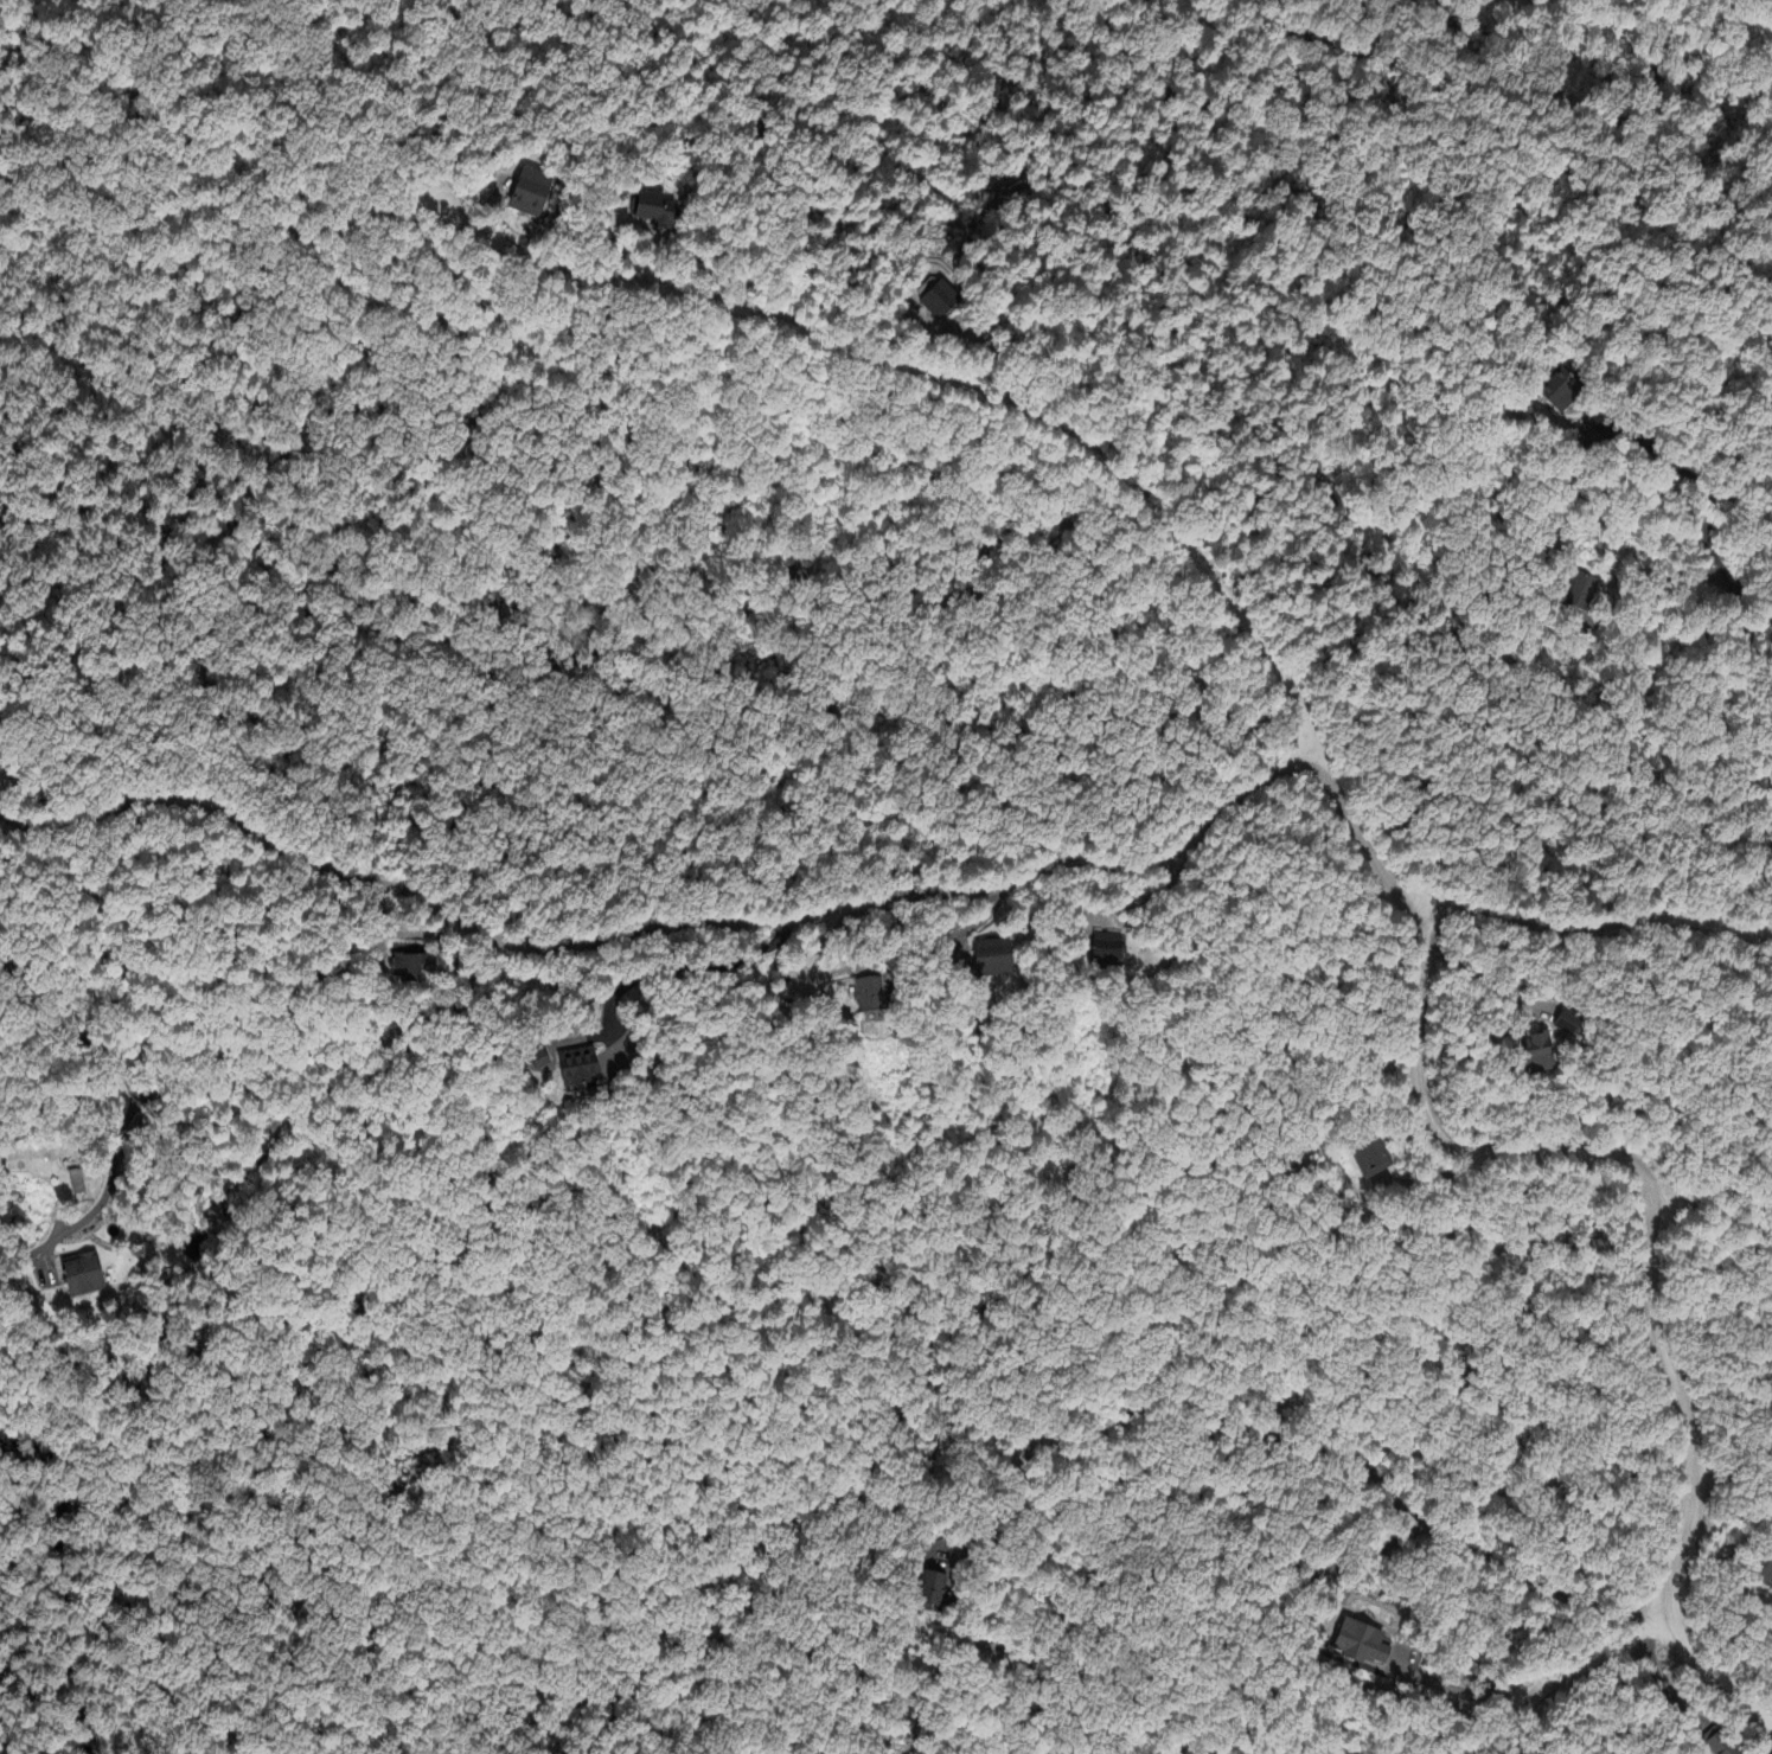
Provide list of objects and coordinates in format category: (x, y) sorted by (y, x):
building: (532, 196)
building: (661, 212)
building: (941, 301)
road: (942, 383)
road: (1662, 457)
road: (1650, 590)
building: (1576, 595)
road: (1733, 596)
road: (1356, 833)
road: (1421, 907)
road: (657, 928)
building: (1108, 952)
building: (994, 960)
road: (687, 968)
building: (412, 971)
building: (871, 999)
road: (1528, 1012)
building: (1562, 1025)
building: (1531, 1056)
building: (586, 1071)
road: (132, 1088)
road: (1560, 1156)
building: (1369, 1158)
building: (76, 1184)
building: (85, 1276)
road: (1364, 1467)
road: (999, 1496)
building: (1761, 1567)
building: (1753, 1592)
building: (925, 1594)
building: (1357, 1646)
road: (1591, 1662)
road: (1457, 1694)
road: (1503, 1726)

